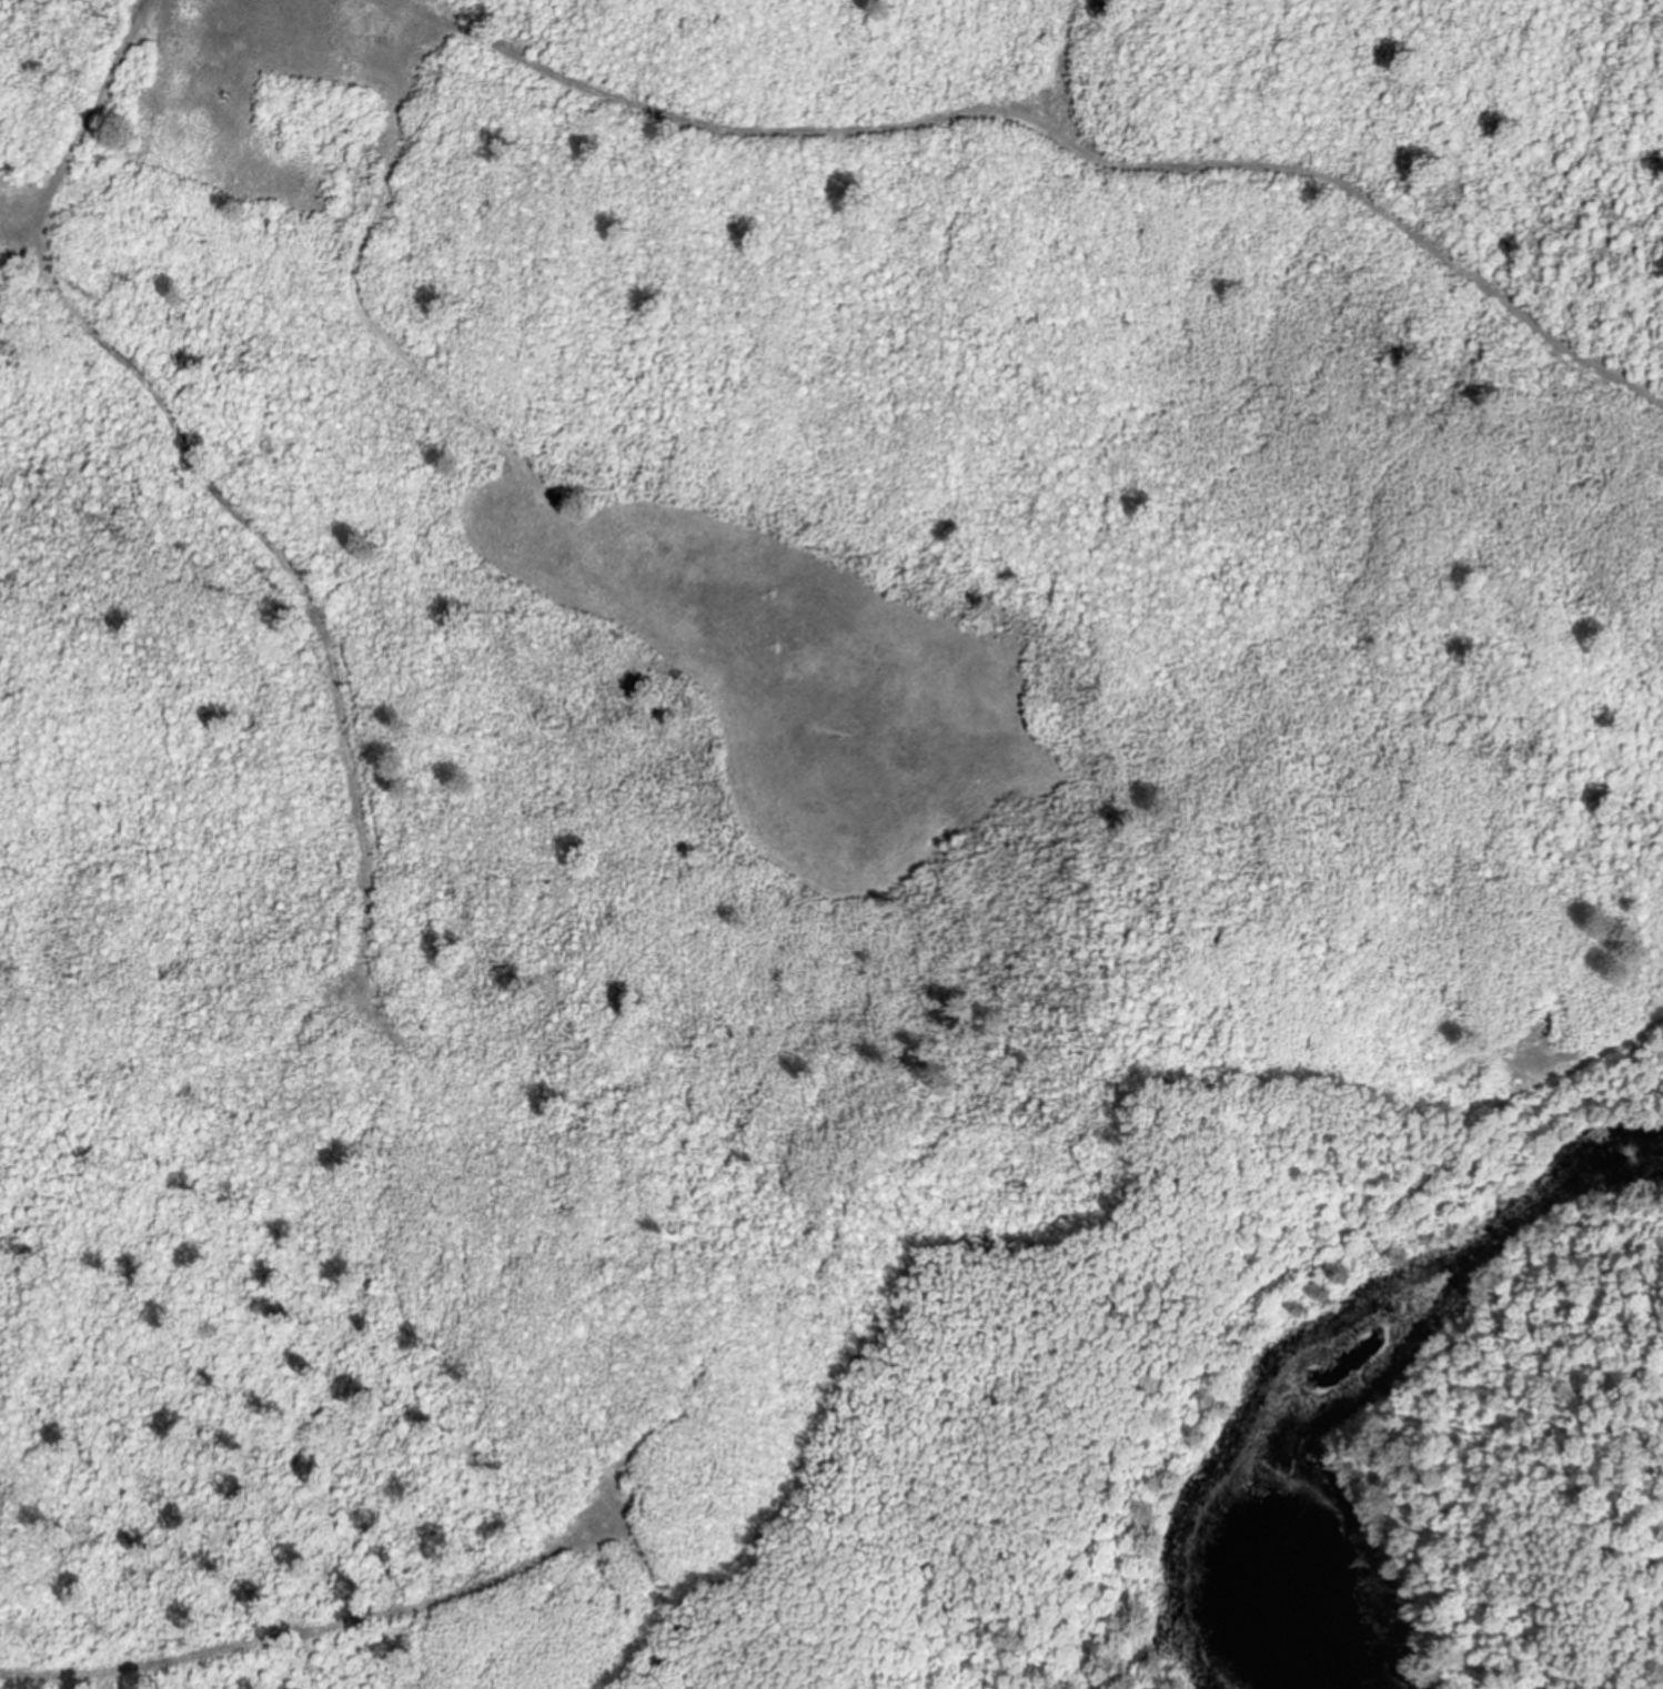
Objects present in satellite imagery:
road: (1334, 183)
road: (1266, 1291)

